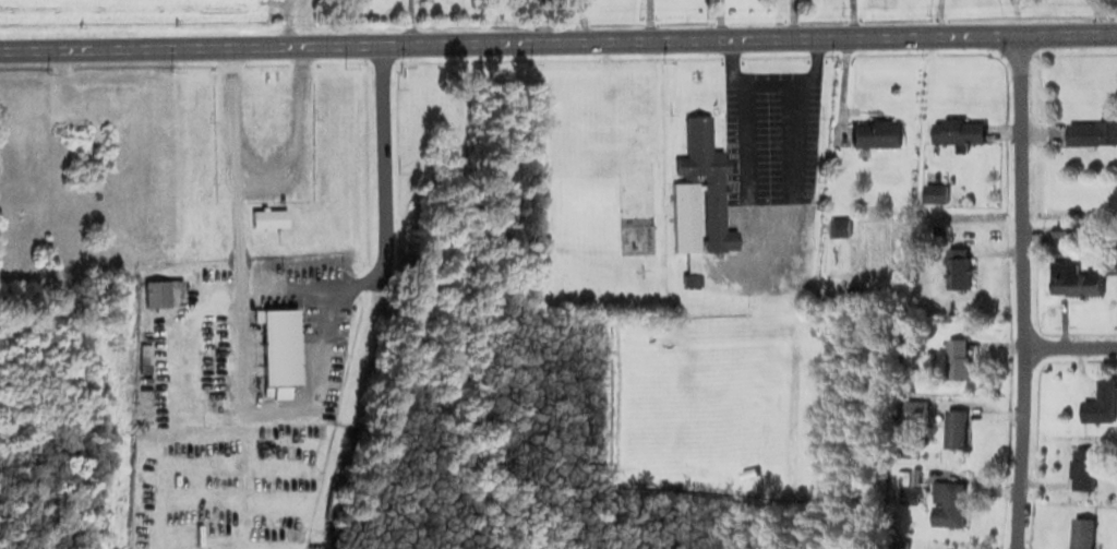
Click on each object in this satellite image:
road: (557, 39)
building: (957, 130)
building: (873, 132)
building: (1091, 132)
building: (940, 189)
building: (698, 199)
building: (266, 217)
building: (844, 222)
building: (838, 226)
building: (265, 258)
building: (956, 268)
building: (1071, 281)
road: (1017, 289)
building: (161, 291)
road: (1067, 341)
building: (277, 345)
building: (143, 357)
building: (956, 358)
building: (1098, 402)
building: (951, 427)
building: (1080, 467)
building: (906, 494)
building: (946, 503)
building: (1080, 532)

